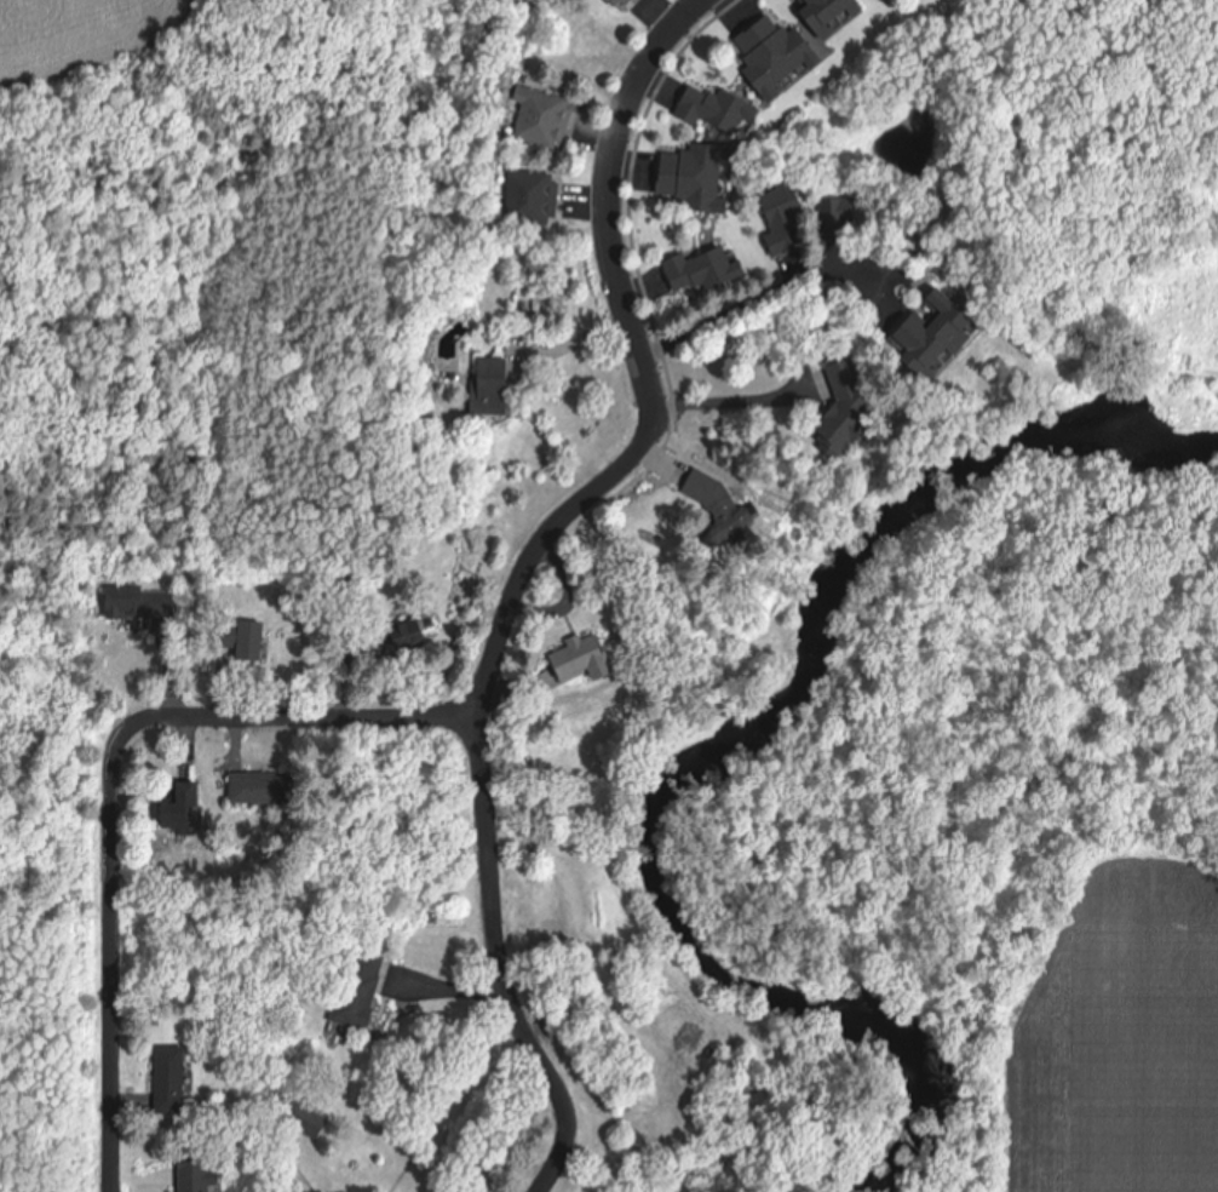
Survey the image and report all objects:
building: (617, 4)
building: (816, 16)
crop: (87, 46)
building: (763, 53)
building: (707, 110)
building: (535, 120)
building: (683, 176)
building: (525, 200)
building: (832, 216)
building: (777, 222)
building: (690, 269)
road: (748, 311)
building: (920, 338)
park: (1121, 360)
road: (649, 378)
building: (481, 385)
road: (734, 402)
building: (831, 440)
river: (1102, 474)
building: (703, 493)
building: (116, 602)
building: (381, 635)
building: (240, 642)
building: (568, 659)
road: (108, 787)
building: (247, 789)
building: (186, 810)
river: (655, 835)
road: (500, 967)
building: (354, 990)
crop: (1114, 1043)
building: (177, 1082)
building: (205, 1176)

